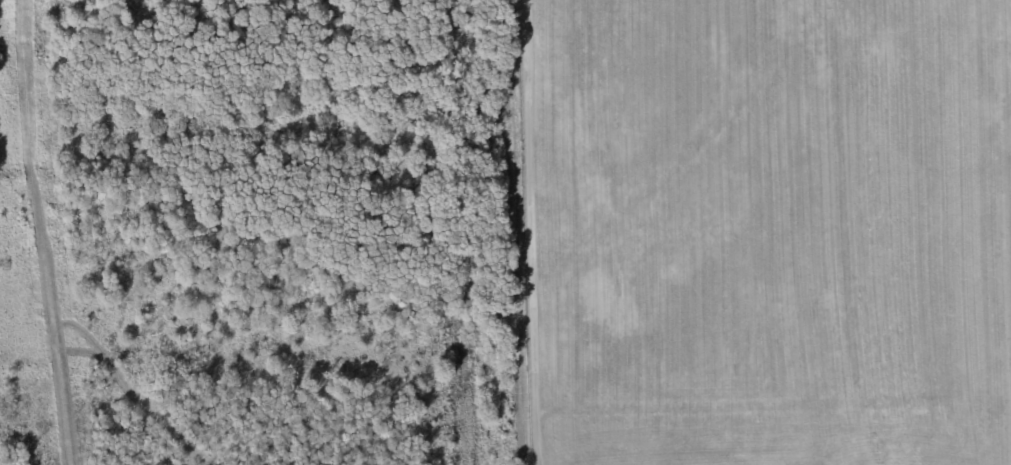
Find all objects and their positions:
airport: (766, 231)

